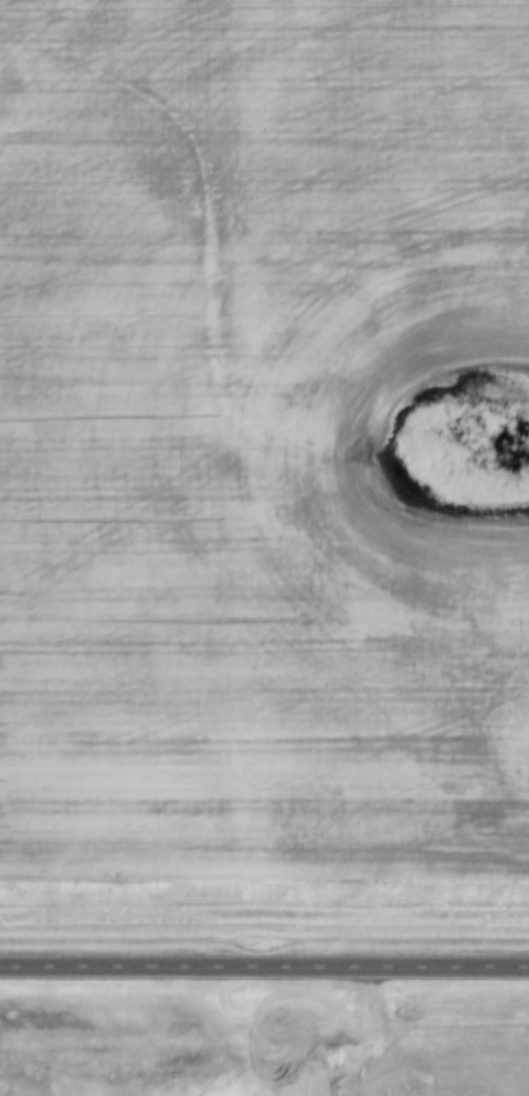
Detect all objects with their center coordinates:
road: (264, 961)

